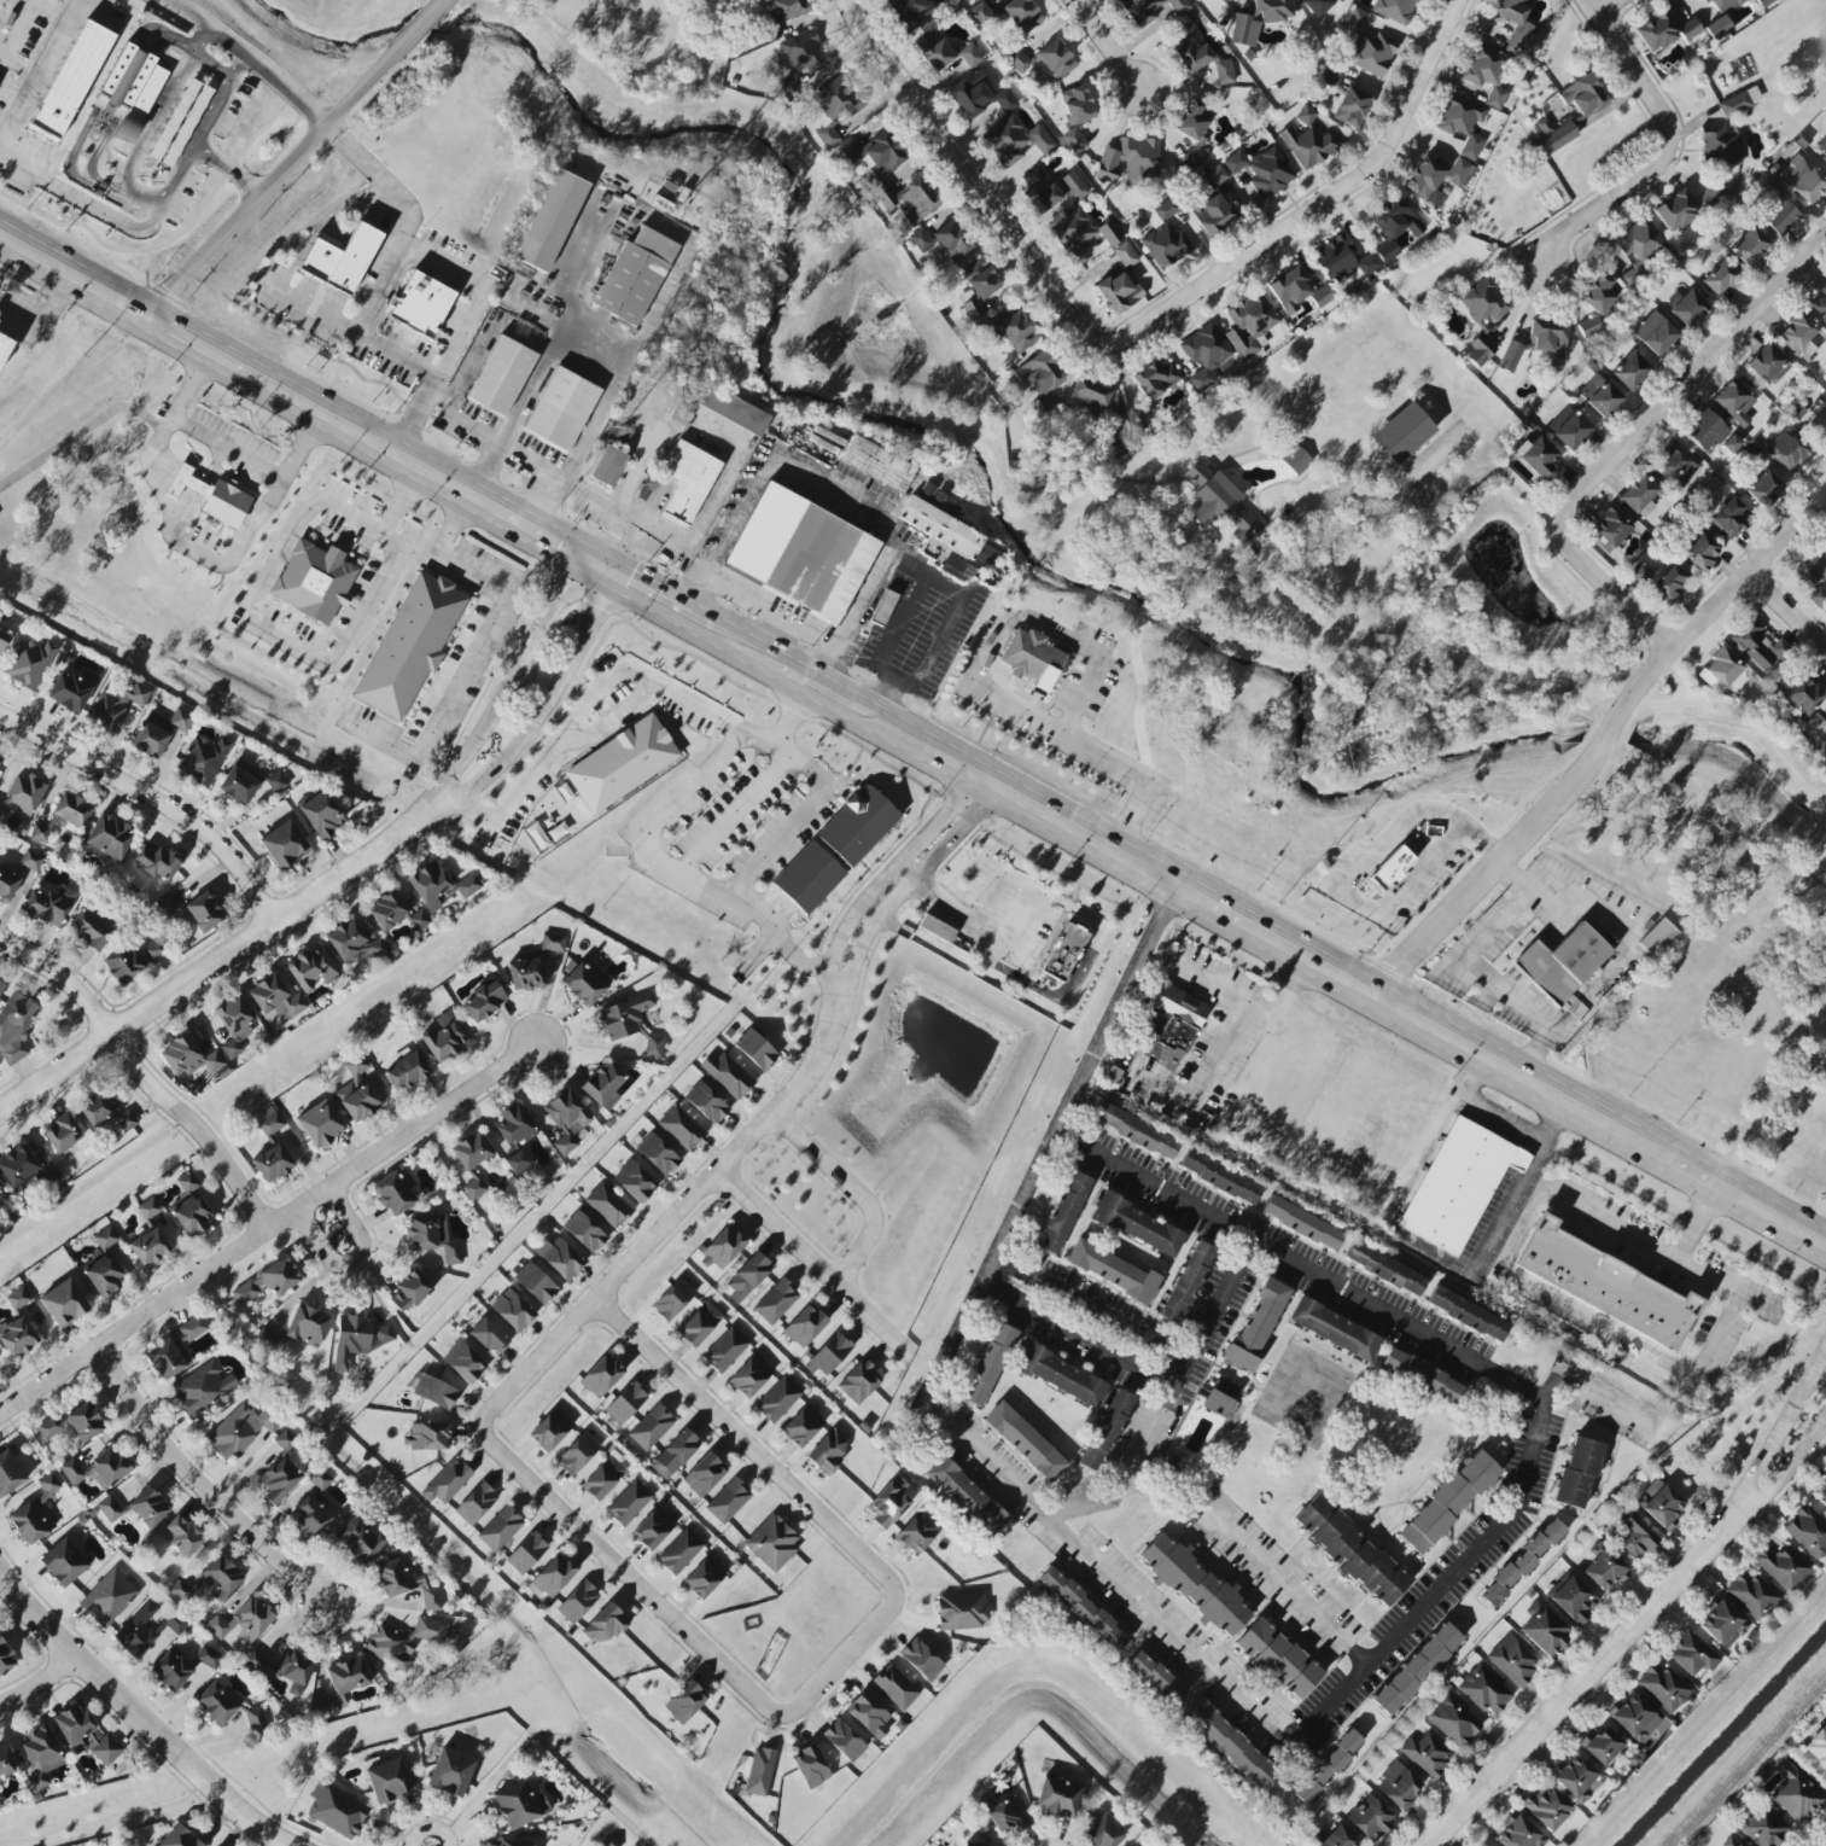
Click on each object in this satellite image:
building: (717, 0)
building: (972, 0)
building: (1224, 1)
building: (1762, 2)
building: (1723, 5)
building: (1318, 6)
road: (1589, 6)
road: (1605, 6)
building: (786, 8)
building: (1149, 10)
building: (909, 12)
building: (980, 13)
building: (1021, 14)
building: (1258, 19)
building: (1355, 21)
building: (1515, 23)
road: (421, 27)
building: (1717, 27)
building: (1690, 29)
building: (1657, 31)
building: (933, 51)
building: (801, 53)
road: (1115, 53)
building: (1372, 53)
building: (969, 54)
building: (1200, 56)
road: (249, 57)
building: (1017, 60)
road: (40, 70)
building: (1486, 72)
building: (1331, 75)
building: (70, 80)
building: (132, 88)
building: (972, 94)
building: (1582, 95)
building: (1004, 100)
building: (1738, 101)
building: (1077, 104)
building: (1350, 106)
building: (1305, 115)
building: (1191, 120)
building: (1462, 122)
building: (1551, 136)
building: (1017, 140)
building: (1074, 140)
building: (1720, 141)
building: (1307, 145)
building: (1822, 149)
building: (874, 153)
road: (1663, 156)
building: (1130, 161)
road: (229, 169)
building: (1262, 170)
building: (1458, 170)
building: (1214, 175)
road: (973, 180)
building: (1802, 180)
building: (1425, 181)
road: (274, 184)
building: (1074, 185)
building: (1039, 191)
building: (1708, 197)
road: (140, 198)
building: (908, 199)
road: (82, 200)
road: (1325, 206)
building: (1675, 209)
building: (1213, 214)
building: (1780, 219)
building: (550, 220)
building: (1393, 226)
building: (1073, 232)
building: (1109, 232)
building: (1163, 235)
building: (920, 239)
building: (951, 239)
building: (1750, 246)
building: (1638, 248)
building: (339, 257)
building: (1342, 260)
building: (634, 276)
building: (1719, 278)
building: (980, 279)
building: (1120, 283)
road: (486, 289)
building: (1600, 293)
road: (372, 298)
building: (1820, 302)
road: (308, 303)
building: (420, 304)
building: (1687, 307)
road: (46, 318)
building: (1249, 324)
building: (1588, 326)
building: (1016, 332)
building: (1655, 333)
building: (1798, 336)
building: (1536, 343)
building: (4, 347)
building: (1478, 349)
building: (1204, 354)
building: (1768, 363)
road: (246, 366)
road: (537, 371)
building: (1632, 371)
building: (498, 375)
building: (1039, 378)
building: (1155, 379)
road: (1688, 384)
building: (1089, 395)
building: (1600, 395)
building: (1733, 402)
building: (559, 408)
building: (731, 410)
building: (682, 412)
road: (463, 414)
building: (1819, 425)
building: (1568, 427)
building: (1705, 431)
building: (1402, 432)
road: (228, 444)
building: (1787, 448)
building: (1536, 454)
building: (1296, 460)
building: (603, 464)
building: (874, 464)
building: (1676, 466)
road: (636, 474)
building: (686, 482)
building: (1766, 485)
building: (1639, 495)
road: (1429, 496)
building: (212, 497)
road: (851, 501)
building: (1218, 501)
road: (607, 505)
building: (1731, 517)
building: (1609, 529)
road: (695, 530)
building: (950, 536)
road: (550, 540)
building: (1824, 541)
road: (188, 545)
building: (1699, 551)
building: (798, 552)
road: (1253, 559)
building: (1640, 573)
building: (1814, 577)
building: (314, 580)
building: (1670, 583)
road: (946, 590)
road: (665, 592)
road: (1614, 592)
road: (868, 598)
road: (250, 602)
building: (882, 607)
road: (1157, 608)
road: (1787, 612)
road: (784, 621)
road: (776, 633)
building: (2, 640)
road: (477, 642)
building: (409, 645)
building: (1756, 645)
road: (929, 659)
building: (1039, 659)
road: (861, 662)
building: (29, 663)
building: (1719, 669)
road: (506, 672)
road: (807, 682)
road: (984, 686)
road: (791, 688)
building: (71, 689)
road: (590, 691)
road: (853, 694)
building: (1803, 695)
road: (548, 699)
road: (1148, 700)
building: (115, 706)
road: (614, 718)
road: (783, 720)
building: (1824, 722)
building: (158, 730)
building: (1825, 734)
road: (1604, 744)
building: (0, 758)
building: (203, 758)
road: (438, 759)
building: (619, 763)
building: (246, 781)
building: (24, 792)
road: (513, 797)
road: (154, 802)
road: (800, 811)
road: (730, 813)
building: (64, 815)
building: (321, 815)
road: (653, 821)
building: (865, 825)
building: (1433, 831)
building: (109, 837)
road: (1482, 842)
building: (284, 844)
building: (156, 860)
building: (29, 862)
building: (1390, 868)
road: (892, 873)
building: (805, 877)
road: (910, 880)
building: (7, 884)
building: (438, 885)
road: (1349, 889)
building: (48, 905)
building: (165, 907)
building: (204, 912)
road: (950, 912)
building: (395, 913)
building: (89, 928)
building: (935, 928)
building: (1825, 928)
building: (1655, 938)
building: (352, 942)
building: (552, 942)
road: (1628, 943)
building: (1822, 948)
building: (1062, 953)
road: (228, 956)
building: (132, 960)
building: (1562, 963)
road: (1463, 966)
building: (311, 967)
building: (525, 973)
building: (587, 983)
building: (1, 986)
building: (275, 997)
road: (1249, 998)
building: (483, 1001)
building: (1177, 1003)
road: (1407, 1006)
building: (630, 1023)
building: (233, 1024)
building: (16, 1026)
building: (443, 1037)
building: (756, 1049)
building: (187, 1056)
building: (406, 1072)
building: (729, 1076)
road: (145, 1078)
road: (1798, 1078)
road: (1201, 1082)
building: (602, 1085)
building: (356, 1093)
building: (705, 1102)
building: (105, 1111)
road: (1757, 1117)
building: (566, 1119)
road: (1556, 1119)
building: (269, 1123)
building: (320, 1124)
building: (513, 1125)
building: (681, 1128)
building: (1137, 1131)
building: (62, 1132)
building: (471, 1151)
building: (657, 1154)
building: (272, 1163)
building: (518, 1163)
building: (17, 1165)
building: (48, 1175)
building: (1219, 1177)
building: (634, 1181)
building: (186, 1182)
road: (1154, 1184)
building: (1455, 1184)
building: (0, 1188)
building: (473, 1188)
road: (857, 1189)
building: (395, 1193)
building: (607, 1205)
building: (147, 1209)
building: (1063, 1212)
building: (191, 1215)
road: (677, 1215)
building: (1302, 1223)
building: (1137, 1225)
road: (270, 1230)
building: (584, 1231)
building: (432, 1236)
building: (105, 1238)
road: (358, 1240)
building: (148, 1248)
building: (722, 1248)
road: (1478, 1256)
building: (559, 1257)
road: (813, 1264)
building: (1384, 1268)
building: (1112, 1270)
building: (103, 1275)
building: (747, 1276)
building: (267, 1281)
building: (1186, 1281)
building: (535, 1282)
building: (1603, 1285)
building: (408, 1291)
building: (17, 1298)
building: (672, 1299)
building: (776, 1300)
building: (63, 1303)
road: (1091, 1308)
building: (512, 1310)
building: (1466, 1314)
road: (1605, 1322)
building: (699, 1323)
building: (307, 1324)
building: (1256, 1324)
building: (804, 1326)
road: (1080, 1329)
building: (1334, 1329)
building: (489, 1335)
building: (17, 1337)
building: (350, 1339)
building: (380, 1340)
building: (724, 1349)
building: (173, 1351)
building: (829, 1353)
building: (463, 1362)
building: (988, 1364)
building: (601, 1375)
building: (749, 1375)
building: (1060, 1375)
building: (1420, 1375)
building: (858, 1381)
building: (202, 1387)
building: (434, 1392)
building: (1219, 1397)
building: (777, 1399)
building: (625, 1403)
building: (75, 1423)
building: (803, 1426)
building: (651, 1427)
building: (239, 1429)
building: (549, 1429)
building: (1105, 1429)
building: (426, 1437)
building: (285, 1440)
building: (1023, 1440)
road: (747, 1442)
building: (828, 1450)
building: (577, 1452)
building: (673, 1454)
building: (98, 1469)
building: (10, 1473)
building: (1577, 1473)
building: (704, 1474)
building: (602, 1478)
building: (278, 1480)
building: (445, 1481)
building: (48, 1484)
road: (196, 1492)
road: (1026, 1493)
building: (965, 1496)
building: (1821, 1497)
building: (728, 1501)
building: (628, 1502)
building: (888, 1502)
building: (1448, 1502)
building: (474, 1503)
building: (1659, 1503)
building: (135, 1507)
building: (311, 1508)
building: (28, 1518)
building: (500, 1528)
building: (653, 1528)
building: (1808, 1531)
building: (917, 1532)
building: (181, 1535)
building: (1633, 1537)
building: (357, 1538)
building: (771, 1543)
building: (679, 1550)
building: (1350, 1550)
building: (525, 1553)
building: (63, 1562)
building: (1521, 1562)
building: (1781, 1565)
building: (1603, 1568)
road: (628, 1573)
building: (217, 1577)
building: (552, 1577)
building: (704, 1577)
building: (406, 1582)
building: (1194, 1584)
road: (1288, 1586)
building: (179, 1589)
building: (1751, 1595)
building: (109, 1597)
building: (1573, 1597)
building: (577, 1601)
building: (1083, 1609)
building: (961, 1611)
building: (243, 1620)
road: (1638, 1623)
building: (1722, 1624)
building: (603, 1625)
building: (1544, 1629)
building: (138, 1630)
building: (403, 1641)
building: (1693, 1653)
building: (208, 1656)
road: (846, 1656)
building: (1277, 1658)
building: (6, 1659)
building: (921, 1659)
building: (1512, 1659)
building: (256, 1661)
building: (293, 1669)
building: (1416, 1669)
building: (170, 1670)
building: (346, 1676)
building: (1155, 1678)
road: (36, 1683)
building: (896, 1687)
building: (1663, 1687)
building: (1483, 1689)
building: (320, 1702)
building: (684, 1702)
building: (226, 1705)
road: (1329, 1706)
building: (868, 1714)
road: (134, 1716)
building: (1635, 1717)
building: (1454, 1720)
building: (84, 1734)
building: (844, 1740)
building: (1229, 1745)
building: (1602, 1745)
building: (1818, 1746)
building: (1425, 1754)
building: (40, 1757)
building: (5, 1760)
building: (810, 1766)
building: (1326, 1766)
building: (450, 1771)
building: (759, 1771)
building: (1573, 1775)
building: (390, 1781)
building: (1398, 1784)
building: (1057, 1796)
building: (1796, 1796)
building: (519, 1804)
building: (1546, 1807)
building: (336, 1810)
building: (1005, 1815)
building: (1370, 1817)
building: (1762, 1827)
building: (1104, 1832)
building: (1517, 1834)
building: (177, 1838)
road: (443, 1838)
building: (1340, 1838)
building: (1728, 1841)
building: (513, 1844)
building: (972, 1844)
building: (1482, 1845)

